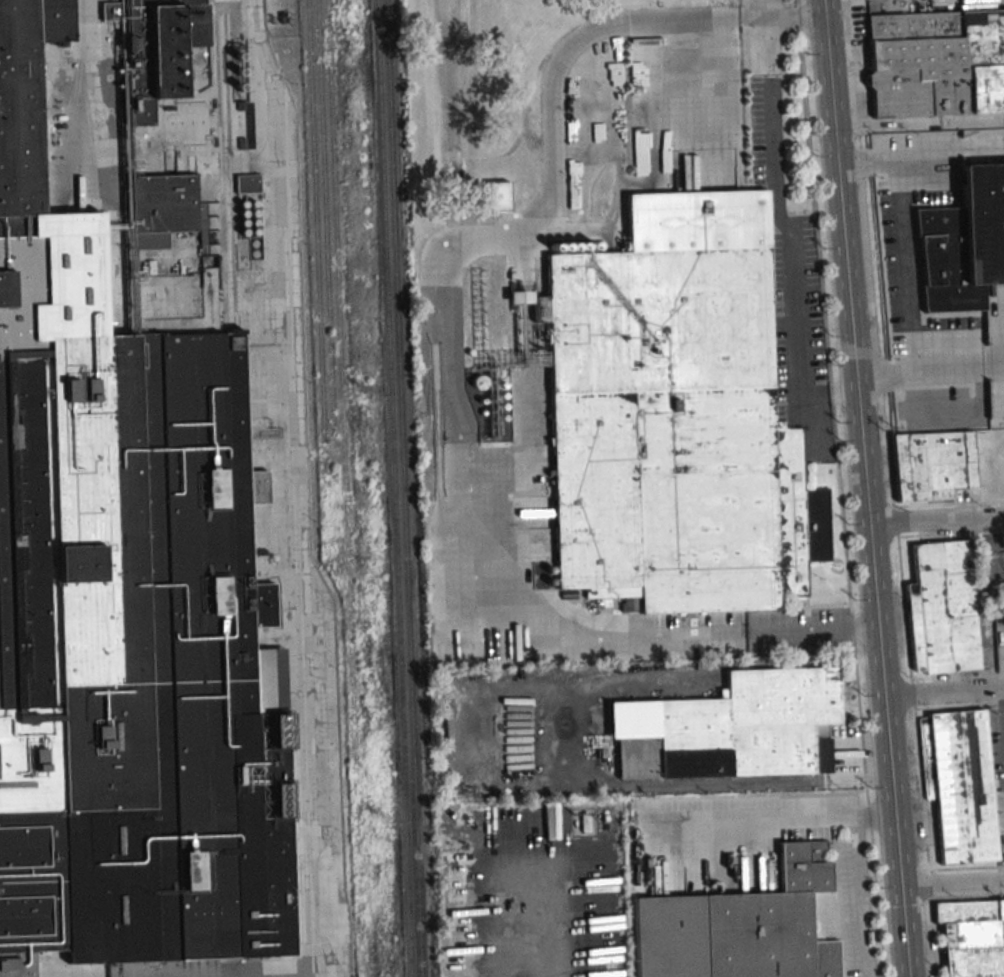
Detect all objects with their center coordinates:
building: (155, 50)
building: (936, 62)
railway: (75, 79)
road: (917, 124)
railway: (229, 167)
railway: (220, 169)
building: (248, 183)
building: (163, 201)
railway: (324, 212)
building: (983, 220)
road: (781, 234)
railway: (316, 236)
road: (902, 236)
building: (519, 297)
road: (449, 347)
road: (928, 371)
power tower: (375, 396)
building: (674, 419)
building: (933, 464)
railway: (345, 488)
railway: (393, 488)
railway: (403, 488)
road: (863, 488)
road: (935, 524)
building: (124, 605)
building: (942, 608)
road: (945, 692)
road: (1002, 705)
building: (742, 731)
building: (959, 784)
road: (789, 818)
power tower: (390, 823)
road: (953, 883)
road: (862, 896)
building: (778, 921)
building: (973, 937)

